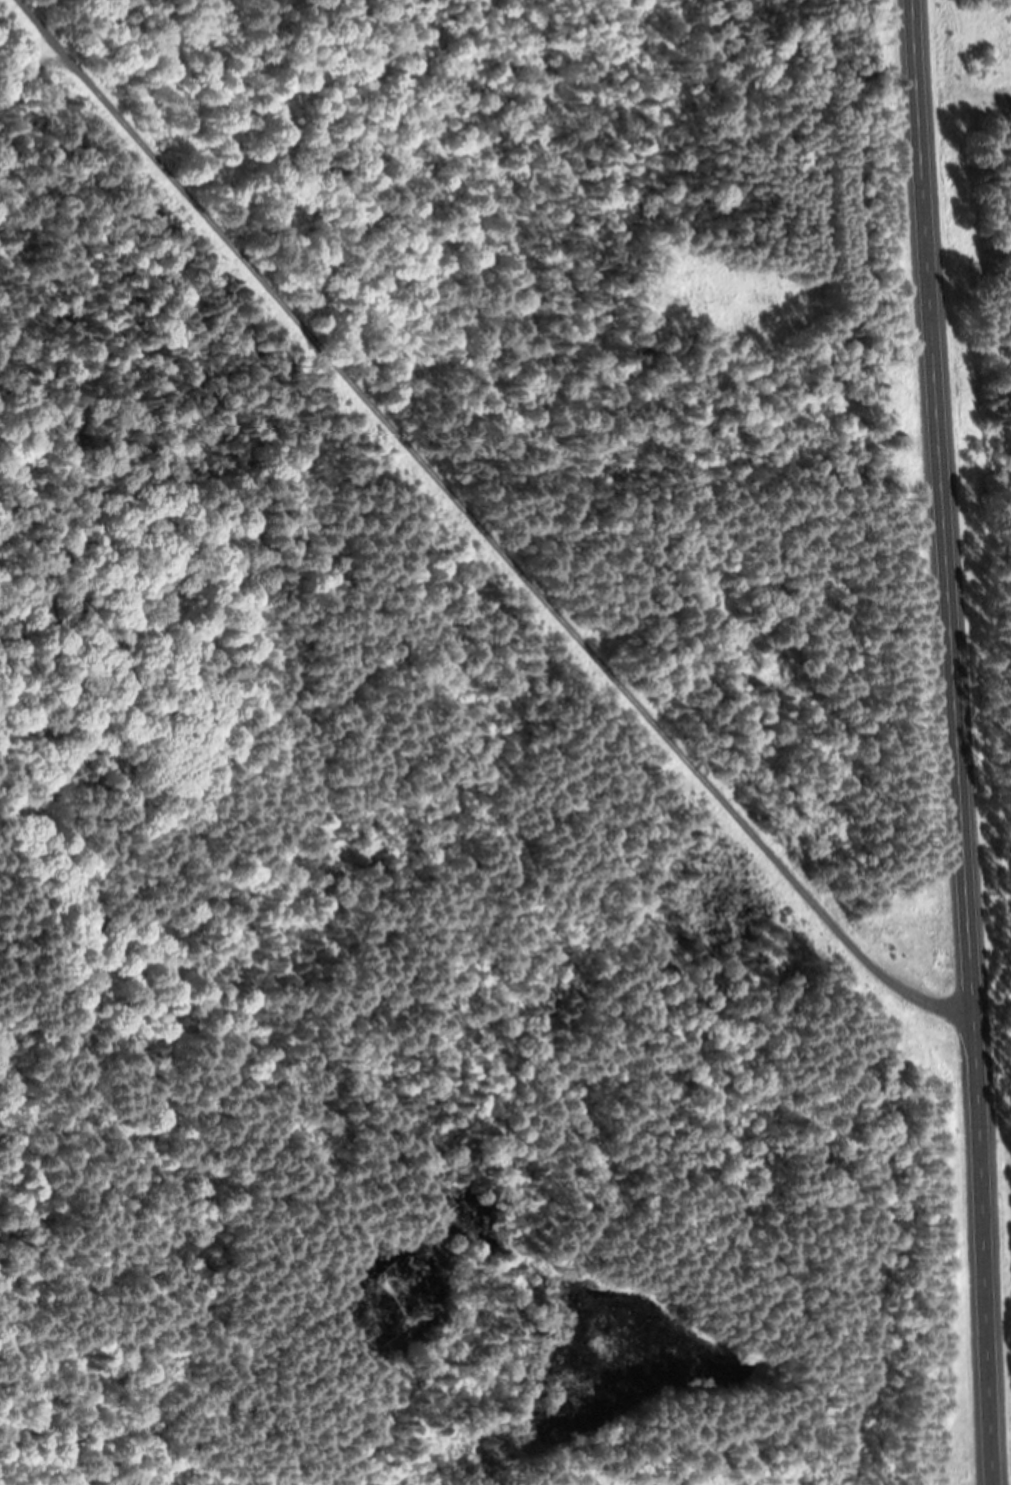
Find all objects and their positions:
road: (31, 80)
road: (482, 527)
road: (957, 742)

